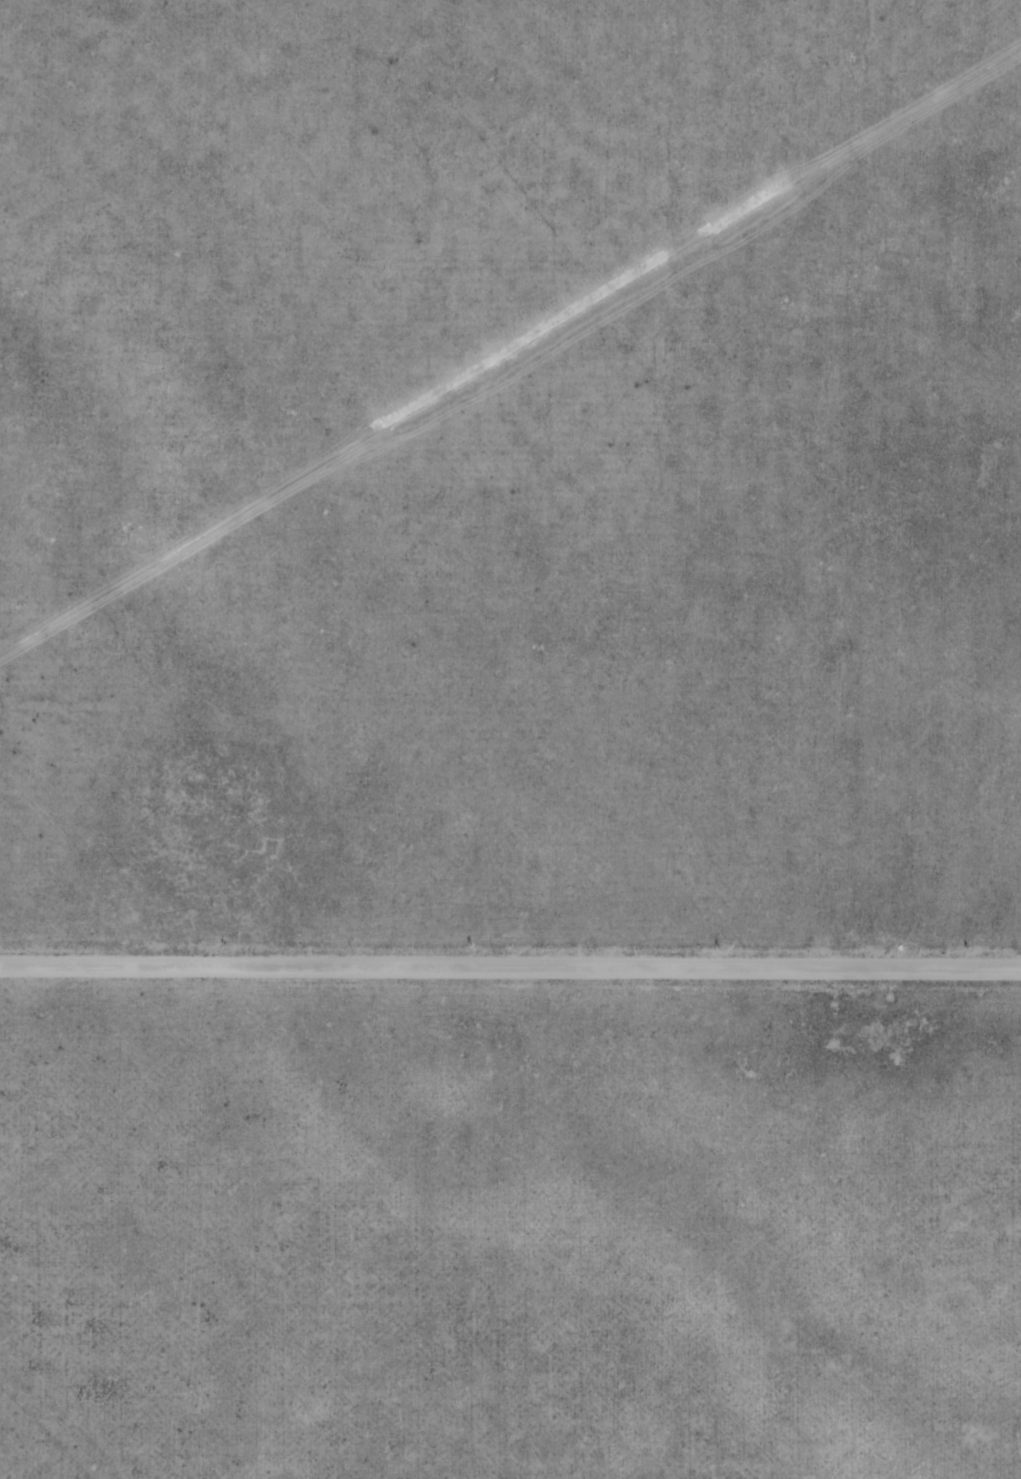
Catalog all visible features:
road: (510, 972)

